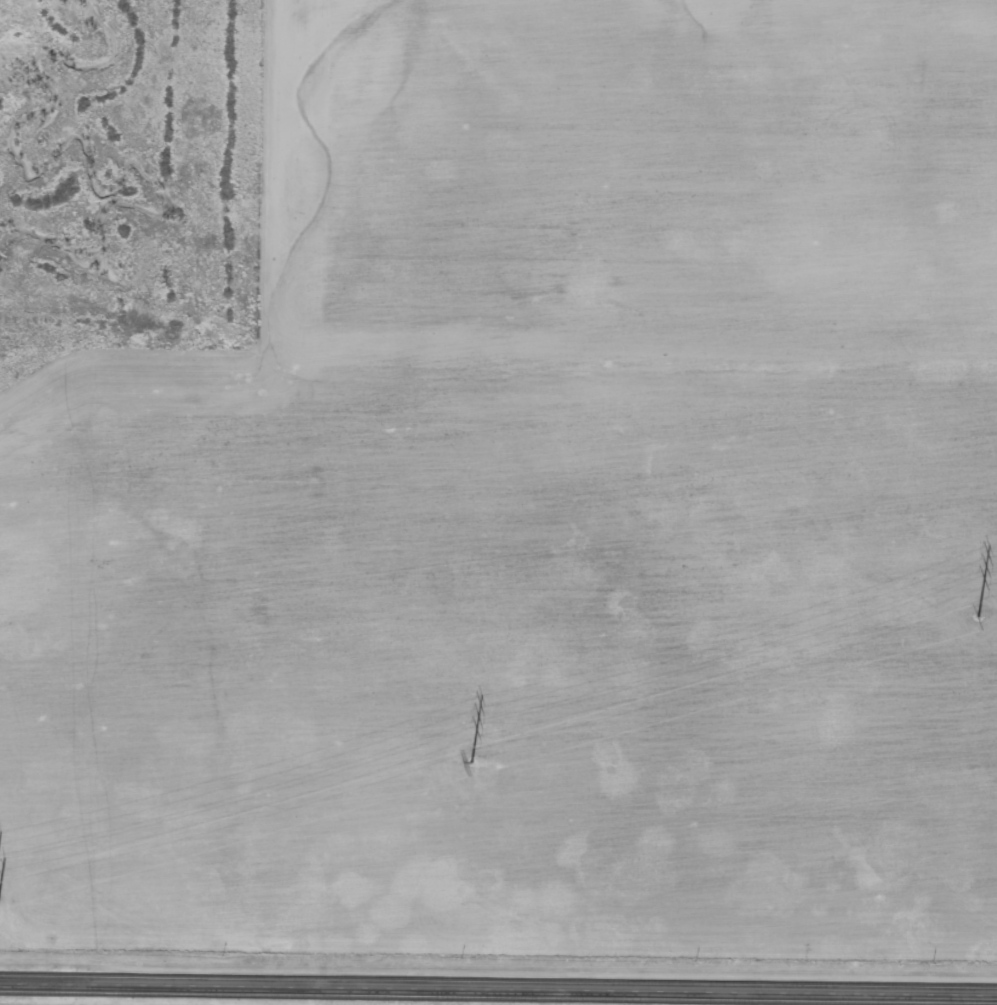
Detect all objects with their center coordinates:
power tower: (978, 617)
power tower: (471, 762)
road: (498, 991)

